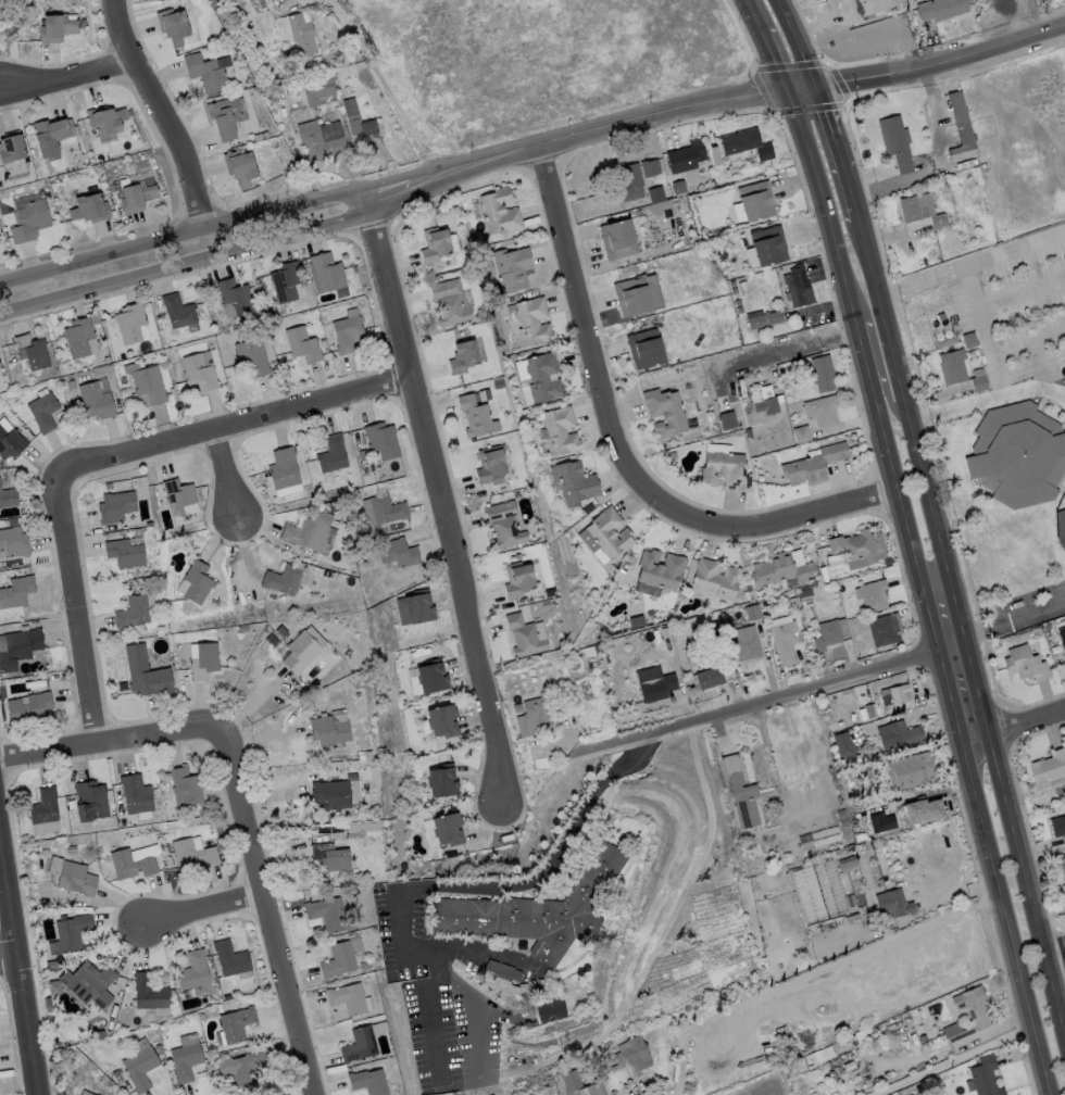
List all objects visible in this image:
building: (261, 1)
building: (968, 1)
building: (860, 9)
building: (941, 9)
road: (1033, 16)
building: (173, 27)
building: (57, 28)
building: (302, 35)
road: (795, 42)
road: (768, 45)
building: (205, 73)
road: (68, 74)
building: (296, 74)
traffic signals: (814, 87)
building: (318, 89)
traffic signals: (789, 91)
road: (714, 104)
road: (161, 112)
building: (129, 113)
building: (223, 117)
building: (105, 119)
building: (362, 126)
road: (829, 129)
building: (961, 129)
building: (52, 137)
building: (261, 137)
building: (321, 140)
building: (897, 142)
building: (747, 144)
building: (10, 151)
building: (103, 155)
building: (687, 156)
building: (240, 168)
building: (650, 168)
building: (628, 185)
building: (678, 188)
building: (161, 190)
building: (656, 194)
road: (849, 196)
building: (137, 197)
building: (755, 201)
building: (90, 207)
building: (910, 210)
building: (500, 212)
building: (631, 212)
building: (29, 221)
building: (939, 221)
road: (181, 231)
building: (618, 240)
building: (744, 242)
building: (435, 246)
building: (768, 246)
building: (722, 254)
road: (187, 261)
road: (970, 264)
building: (512, 268)
building: (354, 270)
building: (327, 273)
building: (286, 281)
building: (732, 284)
building: (798, 287)
building: (735, 291)
building: (235, 295)
building: (632, 297)
building: (449, 303)
building: (738, 303)
building: (740, 311)
building: (178, 312)
building: (1015, 314)
building: (941, 317)
building: (774, 318)
building: (755, 320)
building: (532, 322)
building: (130, 324)
building: (941, 327)
building: (211, 332)
building: (348, 335)
building: (78, 338)
building: (969, 340)
building: (945, 341)
building: (302, 345)
building: (646, 349)
road: (781, 352)
building: (32, 354)
road: (861, 355)
building: (122, 356)
building: (253, 357)
building: (463, 357)
building: (103, 362)
road: (878, 363)
building: (953, 367)
building: (52, 372)
building: (199, 373)
building: (690, 374)
building: (823, 374)
building: (543, 378)
building: (147, 385)
building: (498, 385)
building: (979, 385)
building: (72, 386)
road: (987, 400)
building: (96, 401)
building: (768, 405)
building: (823, 412)
building: (43, 413)
building: (665, 413)
building: (476, 417)
building: (726, 419)
road: (235, 426)
building: (561, 432)
building: (722, 432)
building: (801, 435)
building: (383, 440)
building: (11, 443)
building: (851, 443)
road: (622, 446)
building: (333, 455)
building: (1018, 455)
building: (362, 456)
building: (672, 456)
building: (0, 462)
building: (491, 466)
building: (813, 466)
building: (284, 469)
building: (726, 470)
road: (229, 476)
building: (576, 483)
road: (438, 496)
building: (8, 498)
building: (180, 498)
building: (115, 507)
building: (335, 507)
building: (387, 509)
building: (588, 509)
building: (186, 518)
building: (13, 523)
building: (1061, 523)
building: (149, 525)
building: (504, 526)
building: (309, 531)
building: (606, 534)
building: (13, 542)
building: (857, 546)
building: (398, 553)
building: (125, 554)
building: (626, 556)
building: (889, 562)
building: (624, 569)
building: (661, 570)
building: (781, 570)
building: (824, 575)
building: (876, 576)
building: (716, 579)
building: (283, 580)
building: (517, 580)
building: (130, 582)
building: (198, 582)
building: (747, 588)
building: (16, 593)
building: (805, 593)
building: (315, 596)
building: (874, 596)
building: (793, 602)
road: (78, 607)
building: (419, 607)
building: (133, 613)
building: (651, 613)
building: (753, 613)
road: (1015, 616)
building: (637, 622)
building: (25, 628)
building: (243, 628)
building: (1048, 628)
building: (17, 629)
road: (964, 629)
building: (885, 630)
building: (281, 632)
building: (827, 635)
building: (1064, 635)
building: (524, 637)
building: (786, 642)
building: (671, 644)
building: (745, 644)
building: (20, 649)
building: (301, 653)
building: (1064, 654)
building: (204, 662)
building: (559, 664)
building: (1025, 665)
building: (548, 666)
building: (146, 674)
building: (433, 677)
building: (710, 679)
road: (947, 683)
building: (123, 687)
building: (656, 688)
building: (900, 700)
road: (763, 706)
building: (29, 709)
building: (536, 712)
building: (869, 712)
building: (863, 718)
building: (443, 721)
road: (1014, 728)
building: (329, 731)
building: (899, 737)
road: (109, 741)
building: (845, 746)
building: (363, 756)
building: (1048, 769)
building: (911, 771)
building: (442, 781)
building: (187, 785)
building: (1028, 786)
building: (740, 792)
building: (136, 795)
building: (331, 795)
building: (90, 802)
building: (45, 807)
building: (865, 819)
building: (882, 825)
building: (1057, 827)
building: (363, 828)
building: (449, 830)
building: (25, 839)
building: (811, 841)
building: (800, 843)
building: (46, 852)
building: (192, 855)
building: (330, 858)
building: (130, 865)
building: (848, 865)
building: (1063, 870)
building: (76, 879)
road: (424, 886)
building: (857, 888)
building: (848, 902)
building: (897, 907)
road: (208, 909)
road: (270, 911)
building: (535, 912)
building: (328, 915)
building: (838, 915)
road: (1006, 919)
building: (73, 933)
building: (519, 945)
road: (1053, 946)
road: (476, 951)
road: (1053, 955)
road: (9, 958)
building: (230, 959)
building: (339, 960)
building: (364, 967)
road: (20, 968)
building: (193, 972)
road: (813, 972)
building: (499, 973)
building: (89, 984)
building: (526, 986)
building: (149, 993)
building: (227, 997)
building: (348, 998)
building: (48, 1004)
building: (549, 1010)
building: (969, 1015)
building: (913, 1016)
building: (909, 1022)
building: (237, 1024)
road: (474, 1027)
building: (875, 1029)
building: (100, 1035)
building: (923, 1039)
building: (835, 1045)
building: (360, 1046)
building: (602, 1048)
building: (631, 1055)
road: (951, 1059)
building: (186, 1062)
building: (810, 1065)
building: (848, 1065)
building: (241, 1067)
building: (140, 1068)
building: (838, 1070)
building: (116, 1074)
building: (983, 1078)
building: (104, 1080)
building: (118, 1081)
building: (368, 1082)
building: (580, 1084)
building: (85, 1093)

